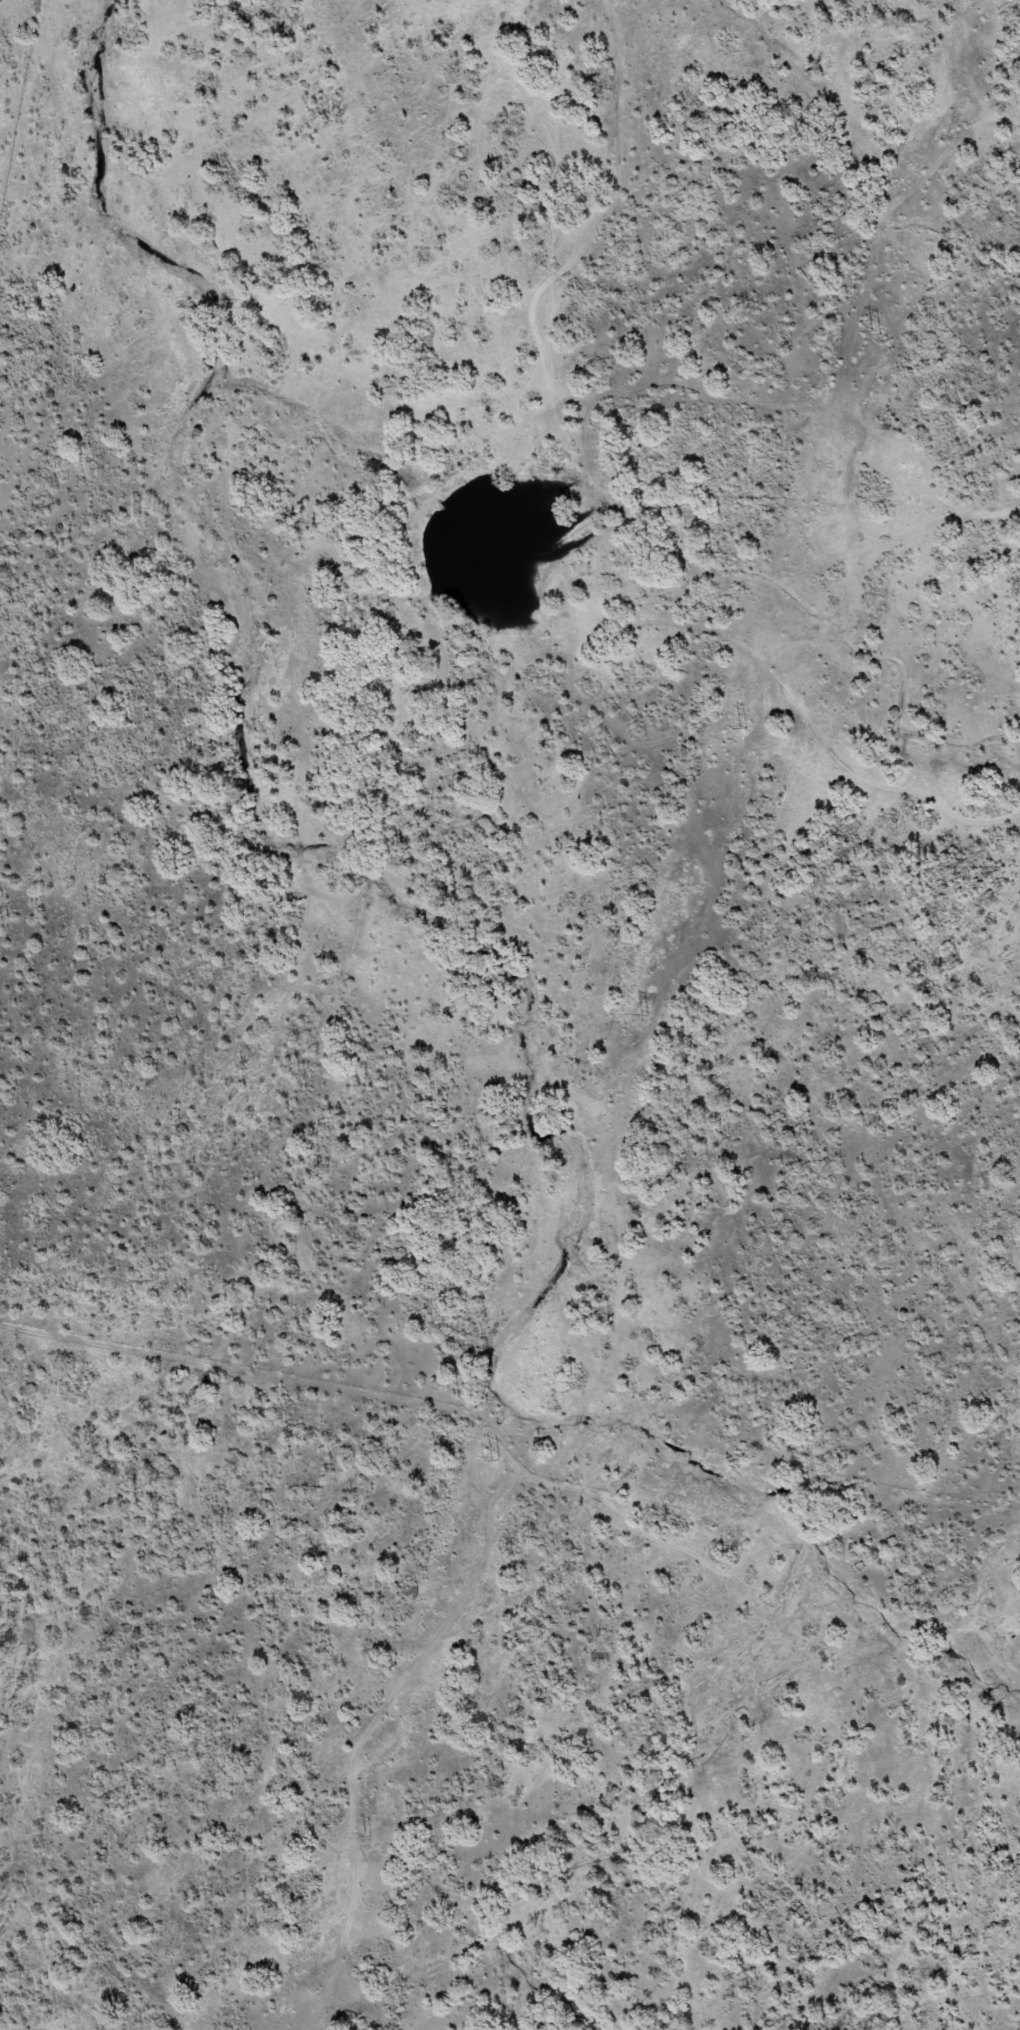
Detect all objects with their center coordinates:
power tower: (875, 331)
power tower: (741, 726)
power tower: (643, 1014)
power tower: (494, 1457)
power tower: (366, 1833)

